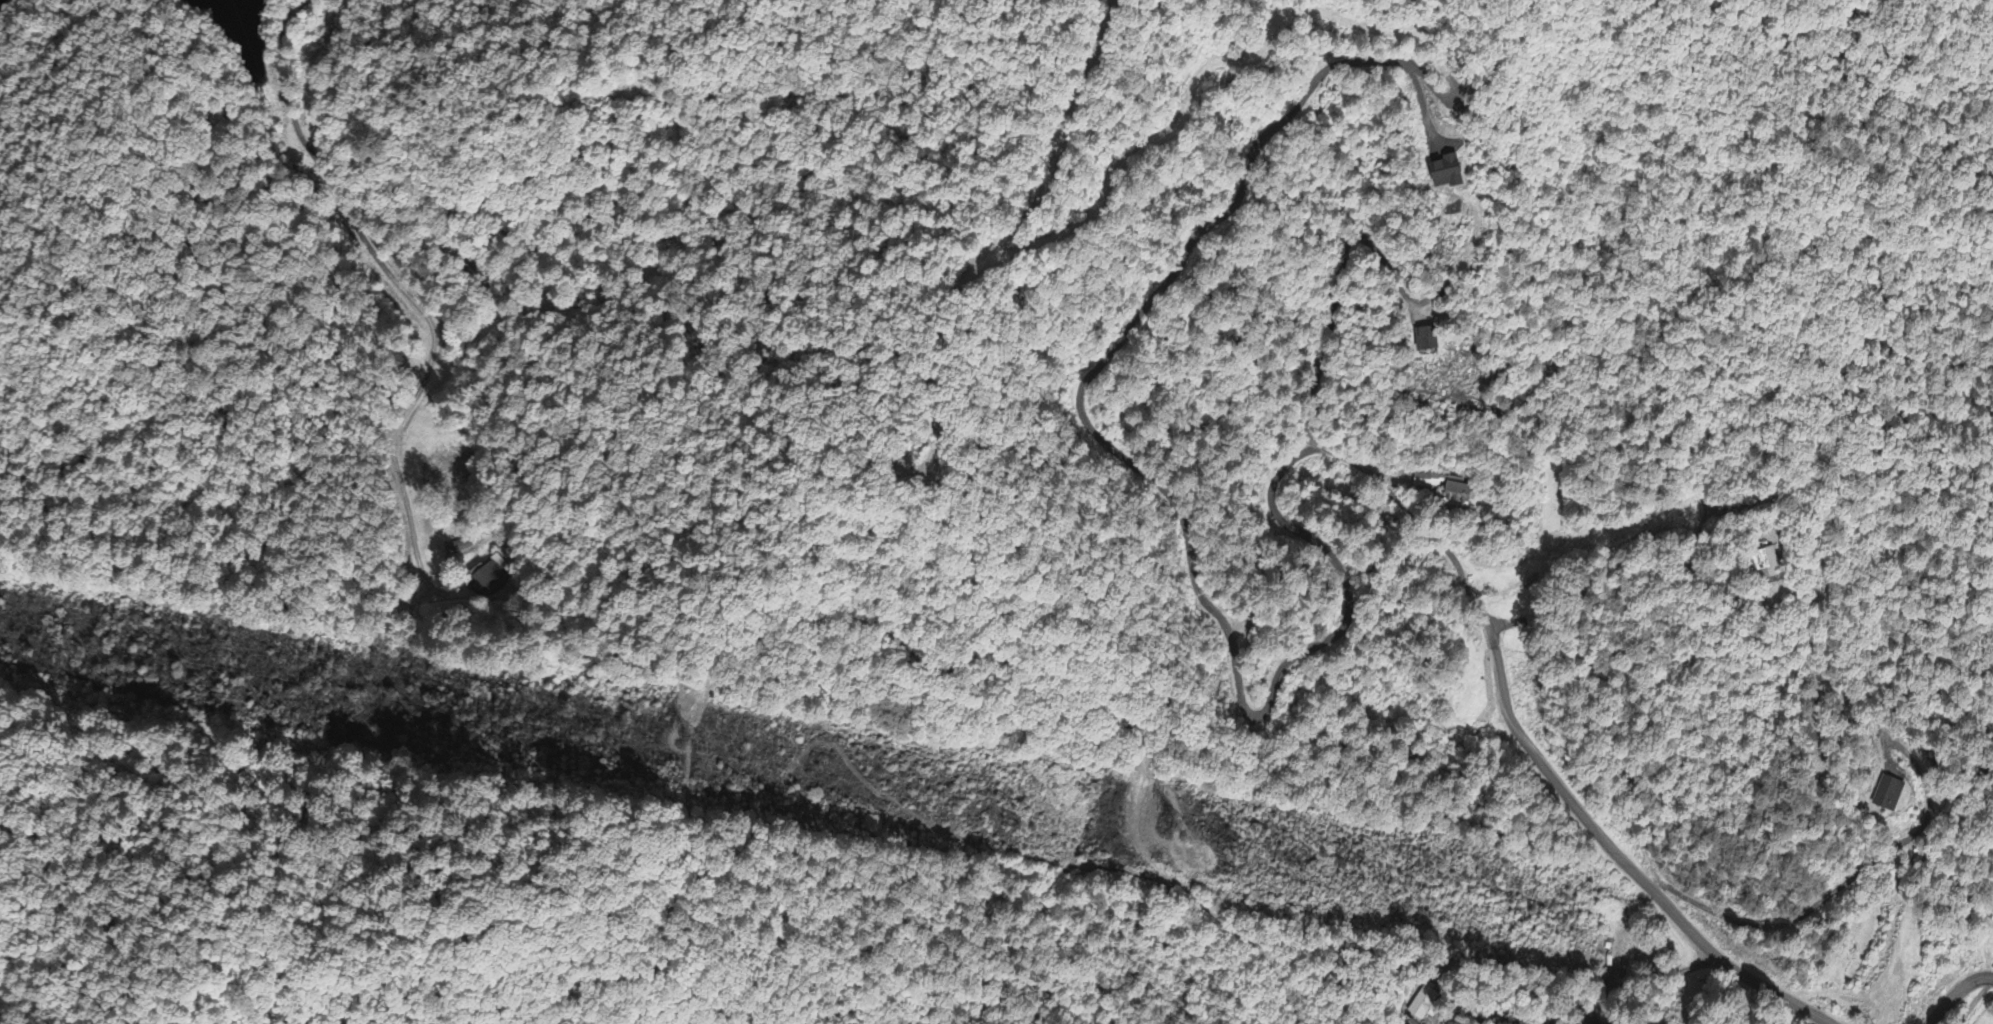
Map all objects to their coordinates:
building: (1449, 174)
road: (396, 282)
building: (1428, 341)
building: (1426, 484)
building: (1458, 496)
building: (1766, 567)
power tower: (244, 660)
power tower: (704, 743)
building: (1888, 796)
road: (1608, 834)
power tower: (1216, 836)
road: (1955, 993)
building: (1424, 1006)

